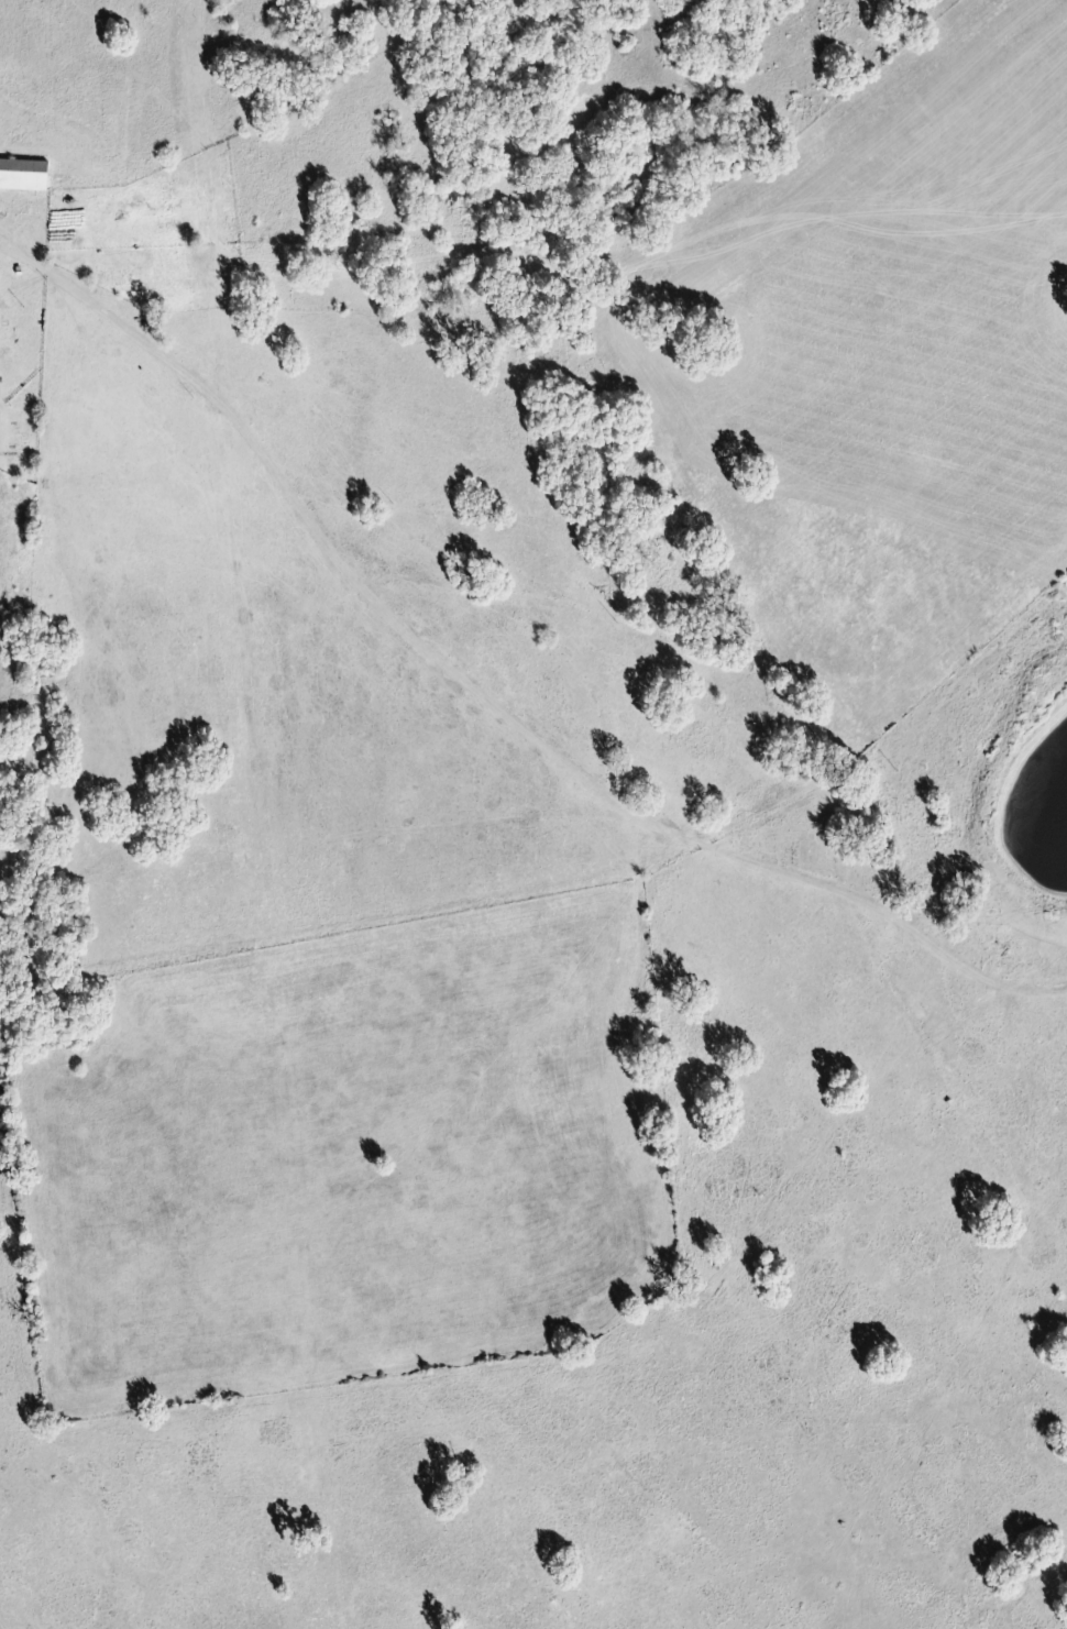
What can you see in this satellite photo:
building: (24, 175)

